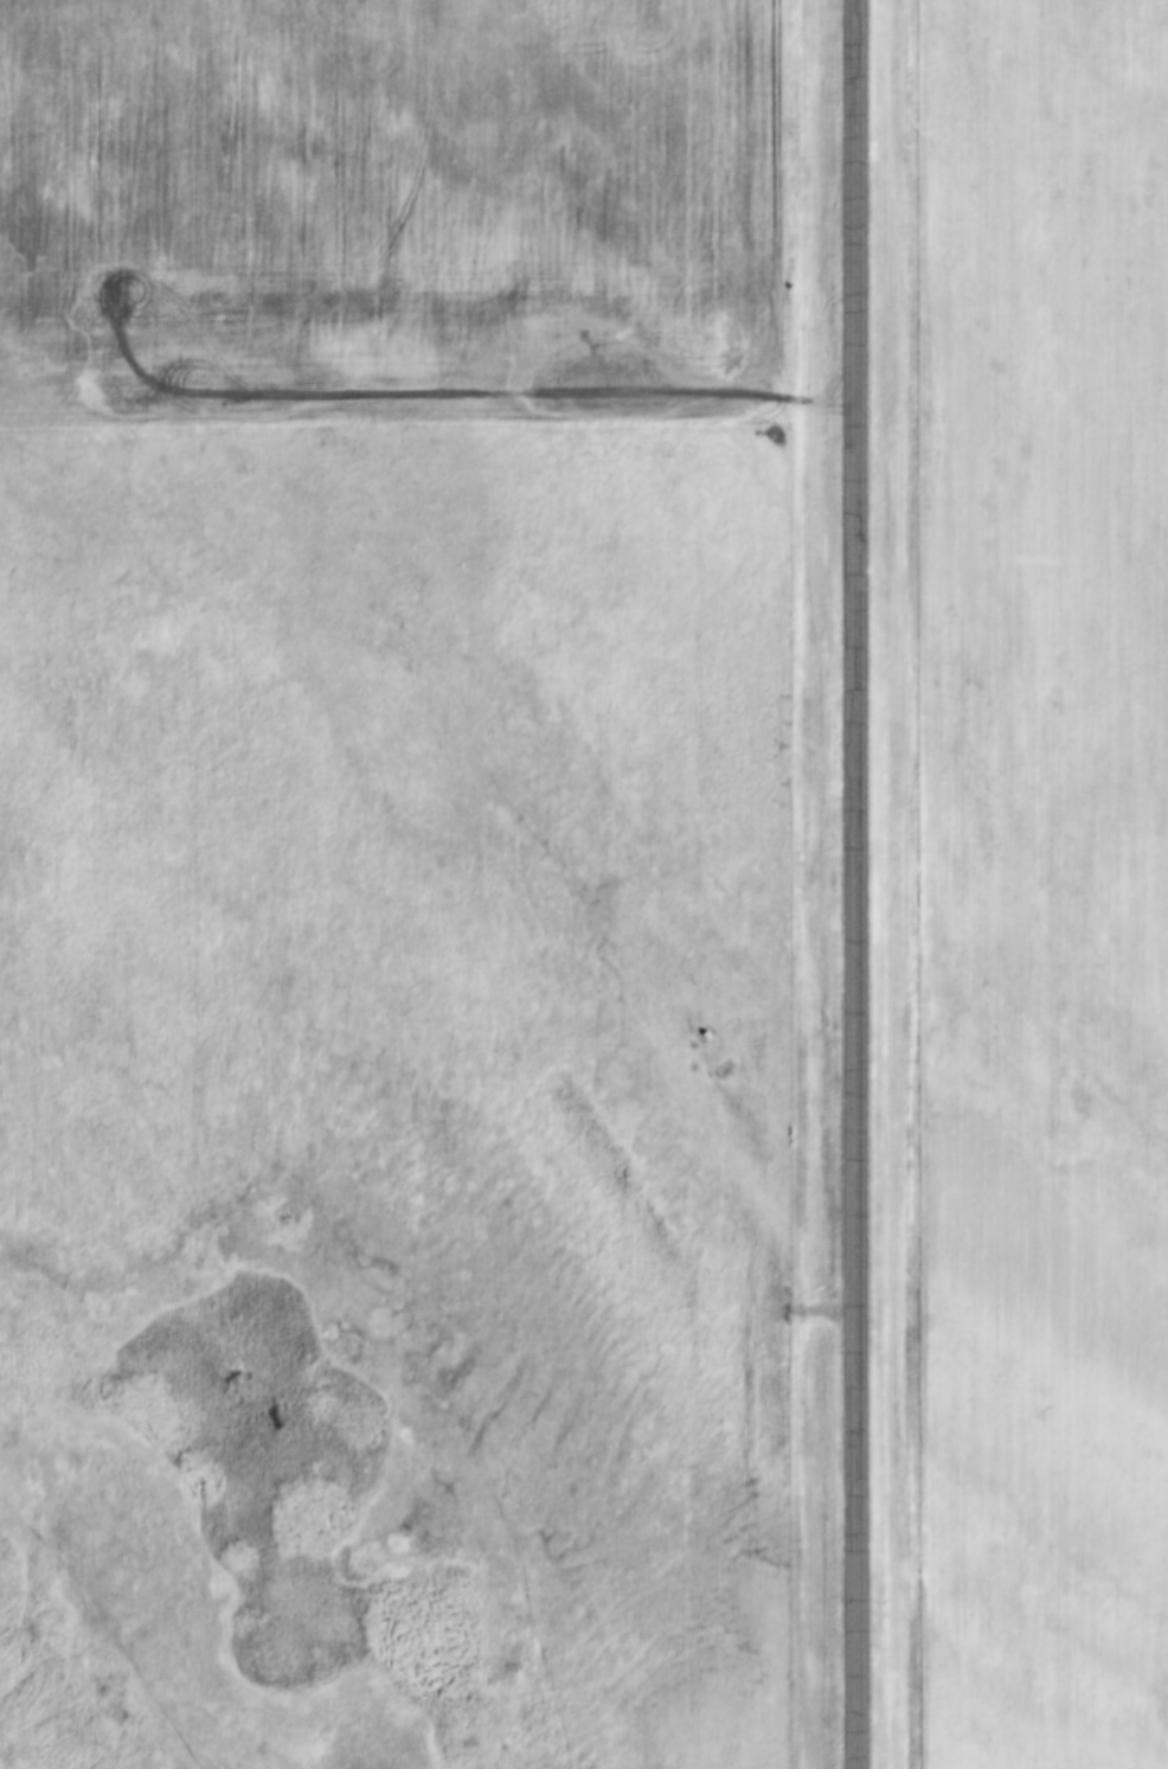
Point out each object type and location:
road: (851, 884)

